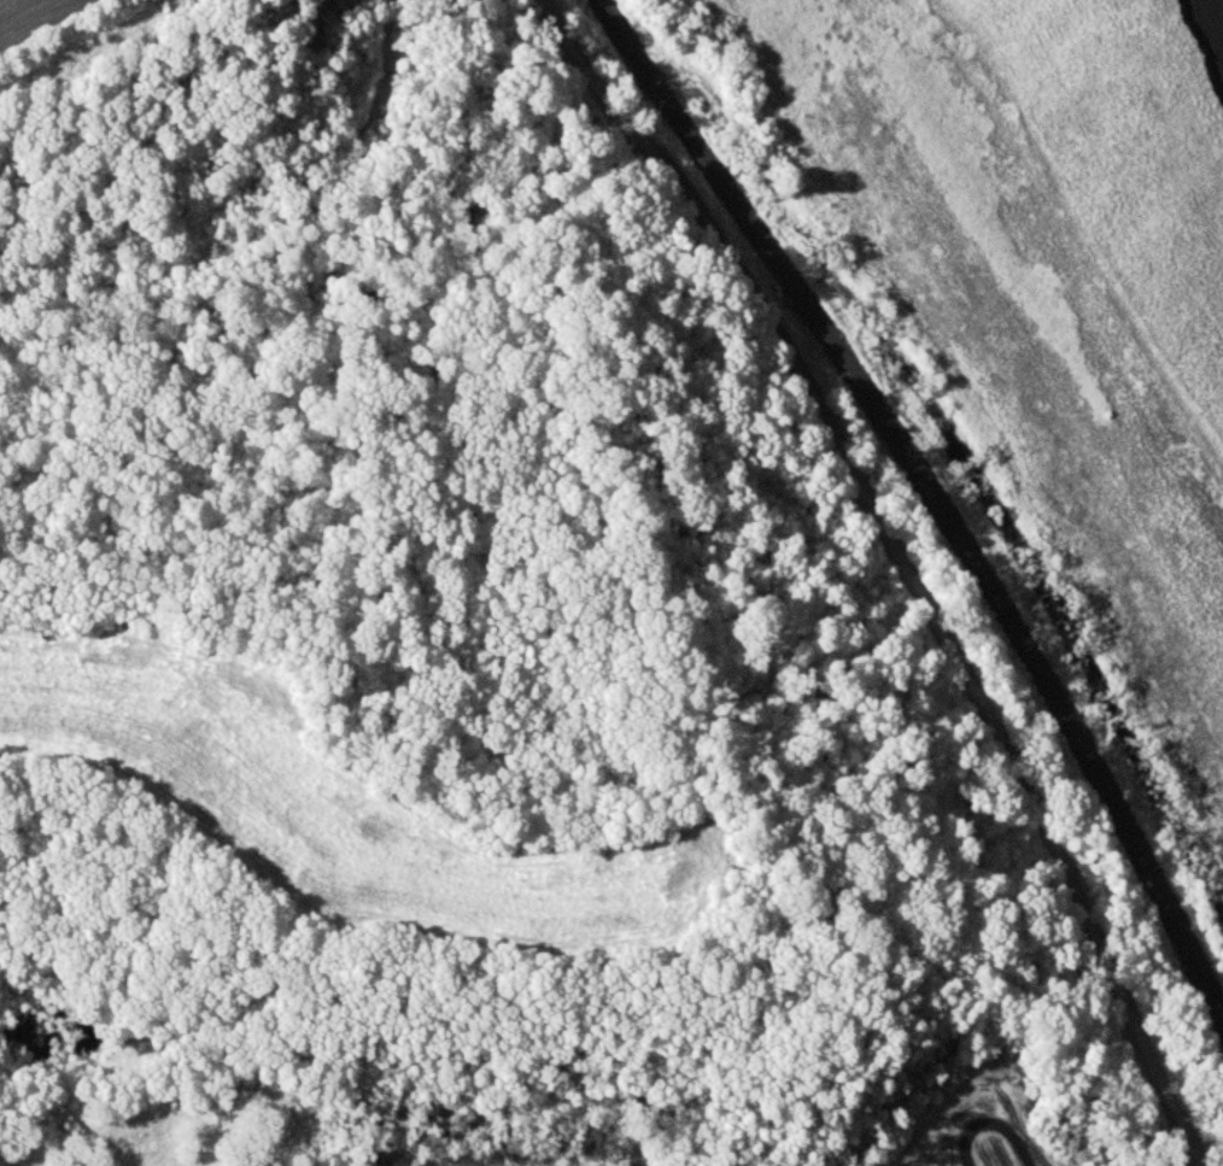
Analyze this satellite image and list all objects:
railway: (932, 497)
road: (902, 567)

